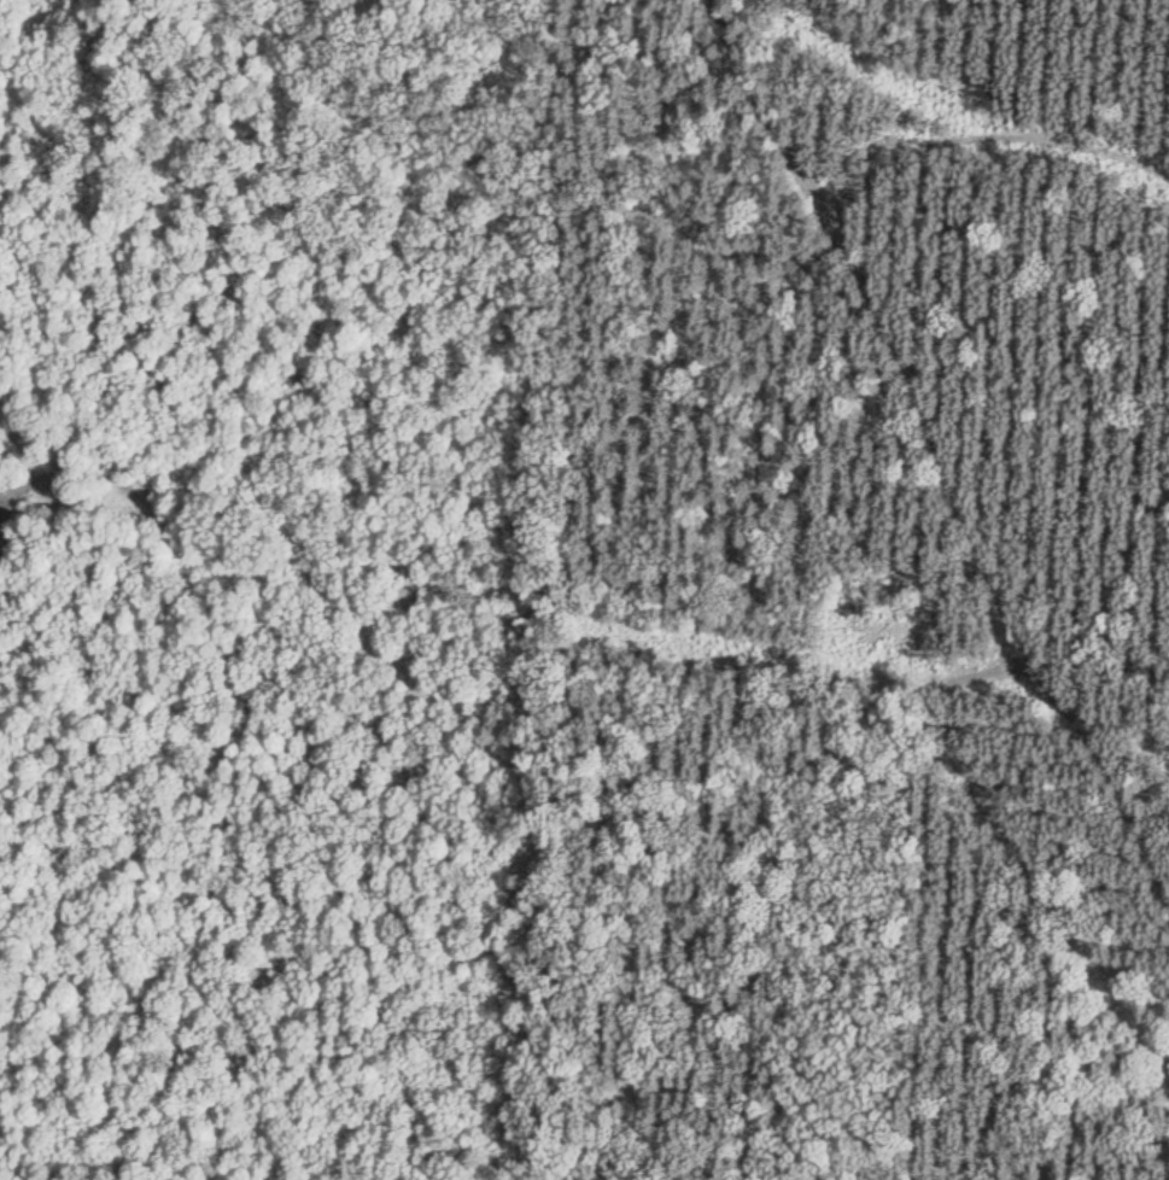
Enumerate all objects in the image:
road: (970, 415)

